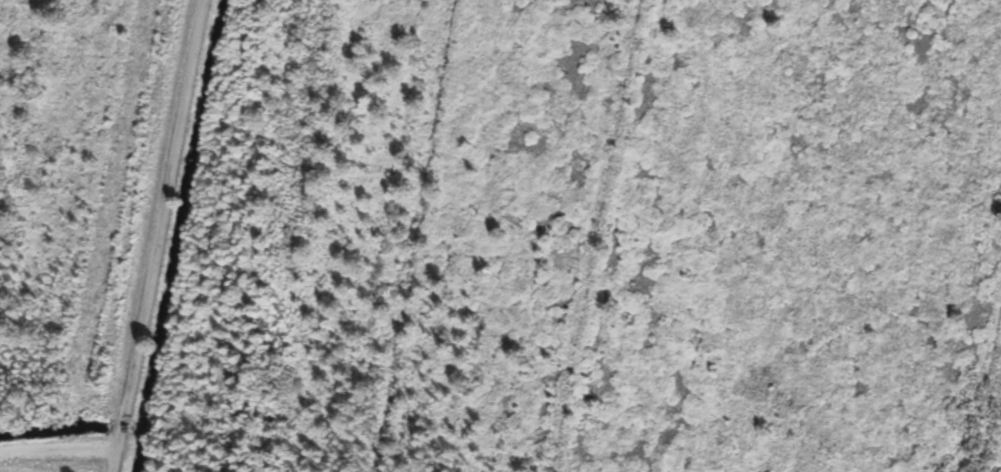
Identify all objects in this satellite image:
road: (158, 225)
road: (57, 450)
road: (113, 461)

